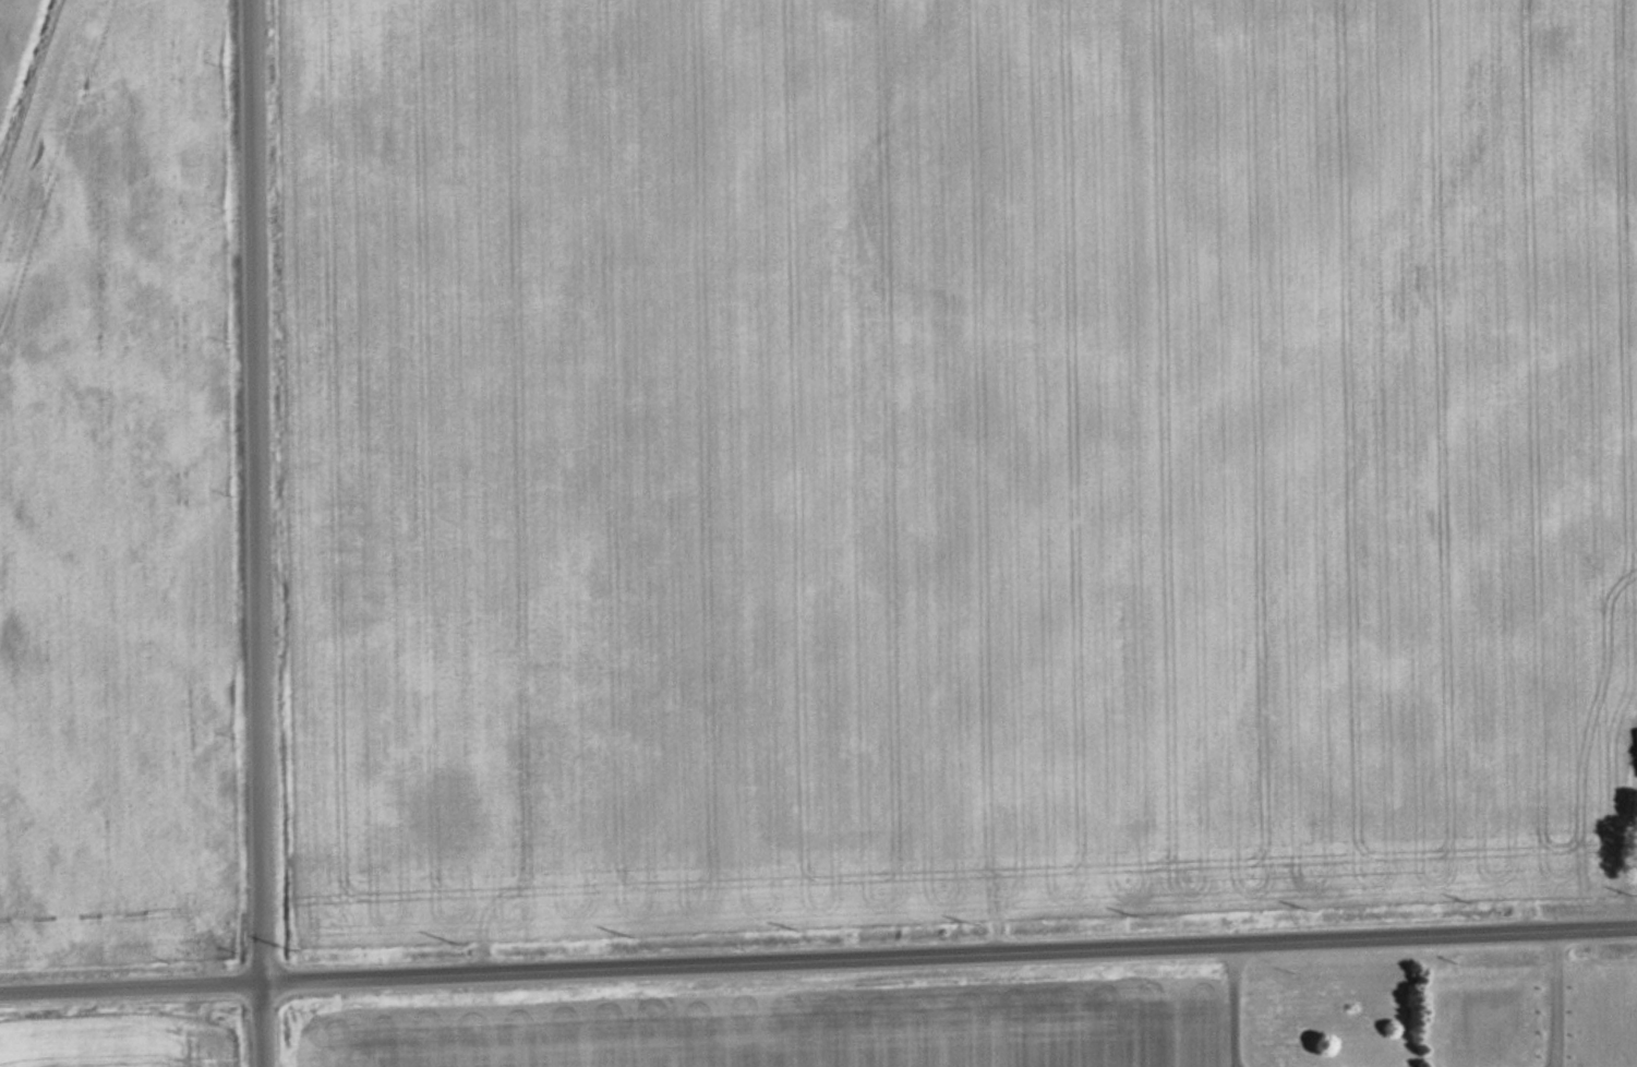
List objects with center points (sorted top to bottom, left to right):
road: (254, 533)
building: (1636, 752)
road: (818, 957)

